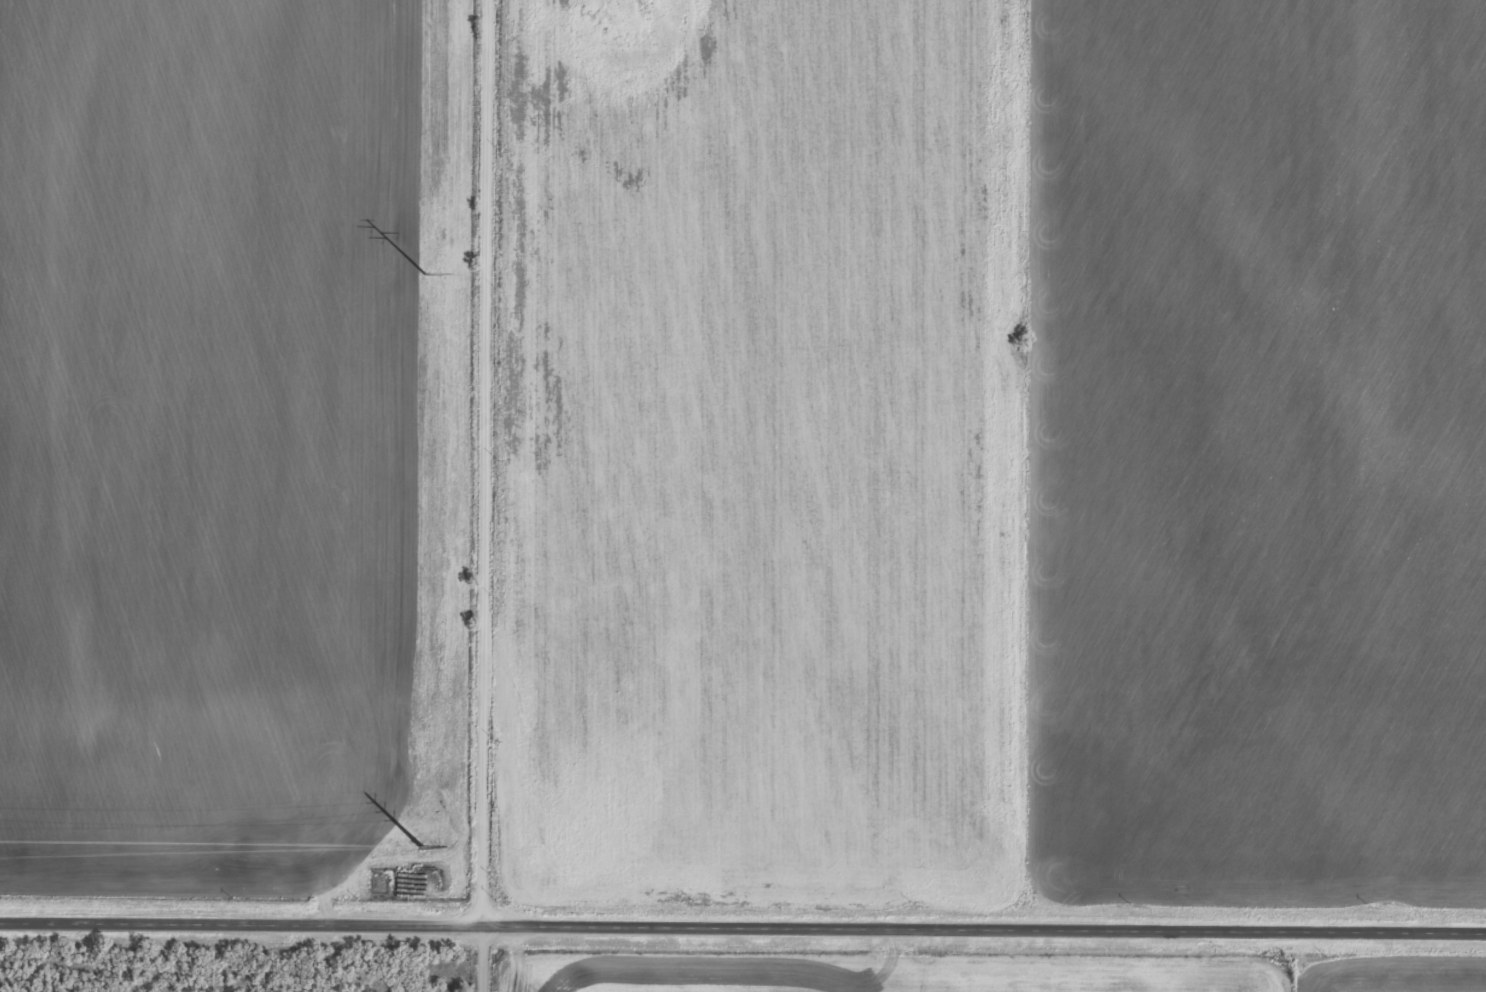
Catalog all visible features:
road: (468, 496)
road: (742, 921)

